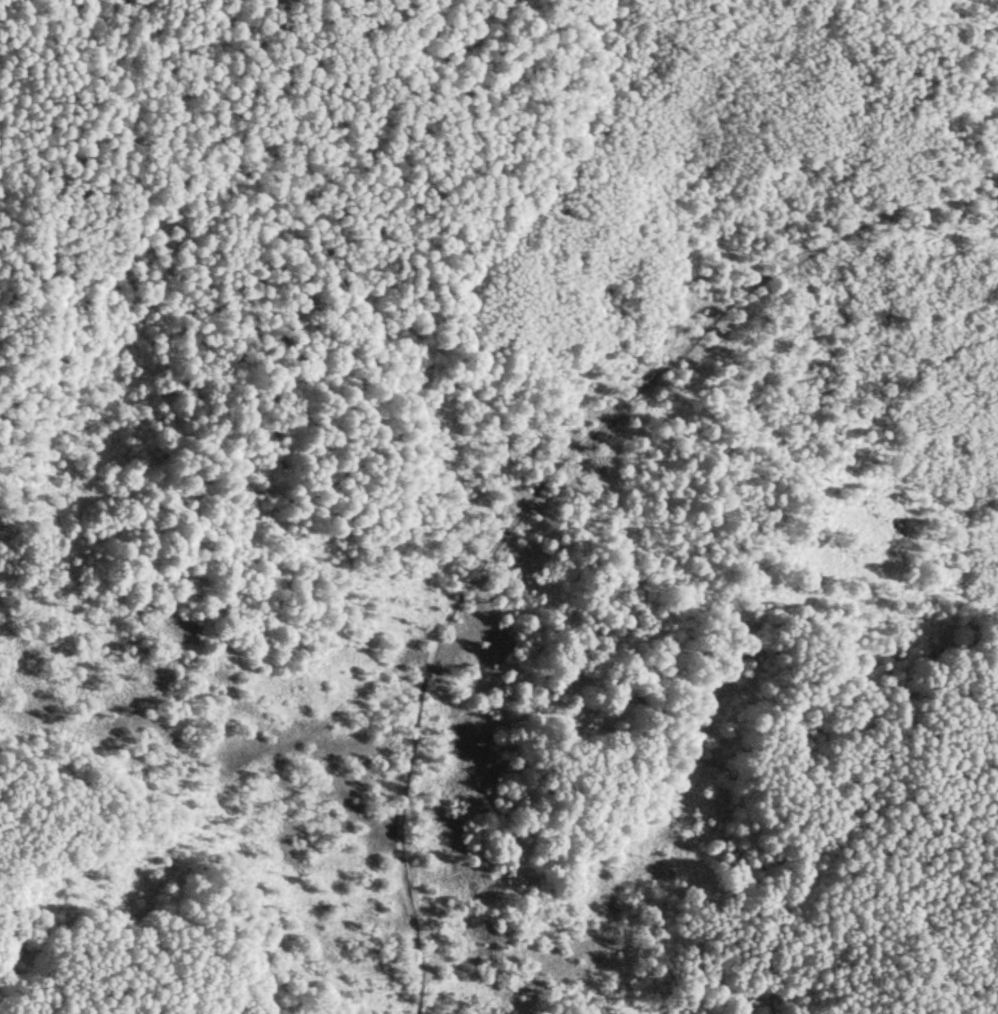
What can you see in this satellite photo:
road: (537, 476)
road: (625, 603)

